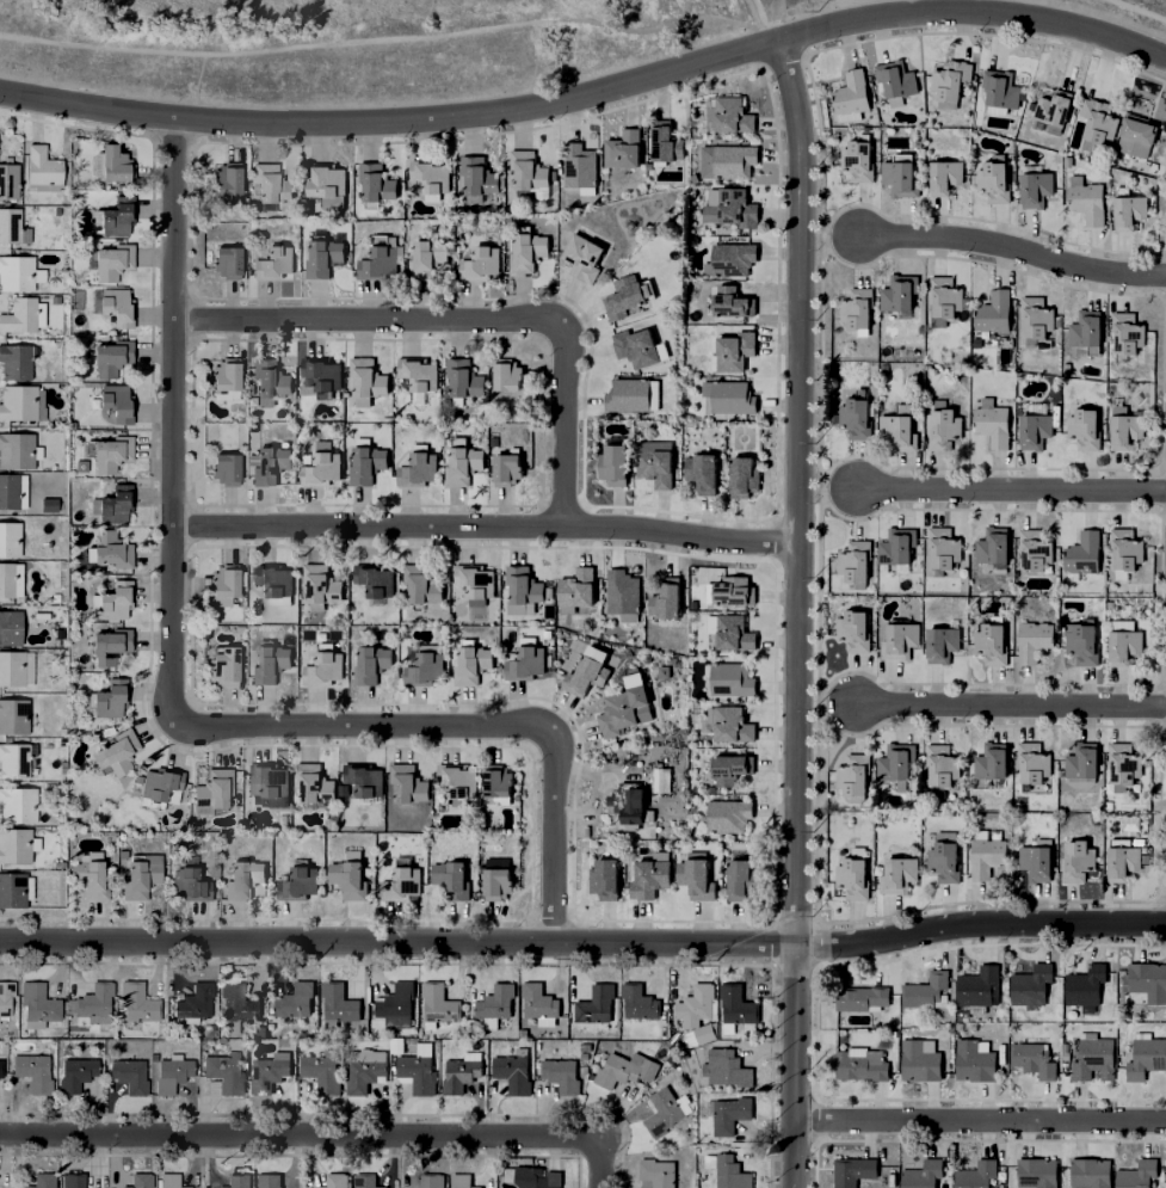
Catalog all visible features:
road: (1139, 11)
road: (971, 12)
road: (800, 14)
road: (769, 33)
road: (382, 39)
building: (895, 75)
building: (950, 76)
building: (1000, 85)
building: (851, 91)
building: (1053, 109)
building: (733, 111)
building: (1099, 118)
road: (391, 122)
building: (666, 139)
building: (1141, 143)
building: (623, 146)
building: (858, 155)
building: (734, 158)
building: (42, 162)
building: (117, 162)
building: (579, 162)
building: (431, 172)
building: (479, 172)
building: (529, 172)
building: (228, 173)
building: (945, 173)
building: (902, 176)
building: (326, 177)
building: (995, 177)
building: (8, 178)
building: (376, 179)
building: (271, 180)
building: (1035, 183)
building: (1090, 199)
building: (738, 205)
building: (1131, 208)
building: (115, 214)
building: (10, 223)
building: (526, 248)
road: (1012, 248)
building: (323, 254)
building: (584, 254)
building: (382, 256)
building: (733, 256)
building: (113, 257)
building: (228, 257)
building: (428, 257)
building: (274, 259)
building: (480, 259)
building: (17, 270)
building: (900, 290)
building: (624, 294)
building: (944, 298)
building: (733, 300)
building: (119, 302)
building: (857, 307)
building: (995, 312)
building: (19, 313)
building: (1037, 318)
road: (471, 320)
building: (1087, 327)
building: (1128, 332)
building: (635, 345)
building: (735, 347)
building: (113, 355)
building: (16, 358)
building: (507, 373)
building: (321, 374)
building: (418, 374)
building: (463, 375)
building: (270, 377)
building: (366, 378)
building: (223, 380)
building: (628, 394)
building: (730, 394)
building: (112, 398)
building: (21, 400)
building: (233, 408)
building: (279, 412)
building: (857, 414)
building: (993, 423)
building: (1085, 424)
building: (945, 425)
building: (900, 426)
building: (1036, 426)
building: (1125, 426)
building: (17, 447)
building: (109, 449)
building: (462, 461)
building: (613, 461)
building: (270, 462)
building: (81, 463)
building: (366, 463)
building: (227, 464)
building: (656, 464)
building: (320, 466)
building: (507, 466)
building: (418, 467)
building: (703, 468)
building: (745, 470)
building: (8, 487)
road: (1010, 487)
building: (117, 501)
road: (485, 527)
building: (10, 535)
building: (944, 544)
building: (112, 546)
building: (994, 546)
building: (897, 548)
building: (1036, 548)
building: (1127, 549)
building: (1084, 550)
building: (857, 558)
building: (6, 577)
building: (374, 579)
building: (273, 580)
building: (475, 580)
building: (226, 581)
building: (421, 581)
building: (523, 583)
building: (320, 584)
building: (575, 587)
building: (735, 587)
building: (622, 592)
building: (667, 596)
building: (115, 597)
building: (519, 610)
road: (796, 613)
building: (5, 624)
building: (709, 626)
building: (855, 627)
building: (735, 630)
building: (901, 639)
building: (1035, 639)
building: (944, 641)
building: (992, 641)
building: (1084, 641)
building: (1125, 641)
building: (112, 644)
building: (528, 658)
building: (269, 660)
building: (473, 660)
building: (370, 663)
building: (323, 664)
building: (425, 664)
building: (12, 665)
building: (224, 665)
building: (585, 672)
building: (732, 678)
building: (109, 696)
road: (1008, 707)
building: (13, 713)
building: (617, 713)
road: (172, 719)
building: (730, 721)
building: (117, 751)
building: (13, 758)
building: (991, 759)
building: (896, 761)
building: (1082, 763)
building: (1124, 763)
building: (1034, 764)
building: (730, 765)
building: (942, 765)
building: (853, 774)
building: (266, 778)
building: (498, 778)
building: (661, 778)
building: (457, 780)
building: (162, 781)
building: (313, 781)
building: (364, 781)
building: (407, 782)
building: (214, 788)
building: (17, 802)
building: (633, 808)
building: (729, 813)
building: (943, 838)
building: (17, 843)
building: (987, 851)
building: (1079, 858)
building: (1123, 858)
building: (944, 860)
building: (1037, 860)
building: (91, 873)
building: (855, 873)
building: (899, 873)
building: (141, 874)
building: (650, 875)
building: (243, 876)
building: (605, 876)
building: (697, 876)
building: (190, 878)
building: (348, 878)
building: (451, 878)
building: (742, 878)
building: (298, 880)
building: (401, 882)
building: (496, 882)
building: (13, 887)
road: (584, 942)
building: (1146, 979)
building: (1086, 985)
building: (1031, 986)
building: (976, 987)
building: (926, 990)
building: (6, 995)
building: (860, 997)
building: (296, 999)
building: (537, 999)
building: (93, 1001)
building: (196, 1001)
building: (638, 1001)
building: (237, 1002)
building: (38, 1003)
building: (137, 1004)
building: (337, 1004)
building: (396, 1004)
building: (437, 1004)
building: (494, 1004)
building: (594, 1004)
building: (696, 1004)
building: (736, 1005)
building: (703, 1033)
building: (518, 1034)
building: (390, 1046)
building: (579, 1055)
building: (1147, 1055)
building: (1034, 1057)
building: (1094, 1057)
building: (920, 1059)
building: (975, 1059)
building: (862, 1063)
building: (727, 1066)
building: (1, 1067)
building: (33, 1070)
building: (321, 1070)
building: (364, 1070)
building: (513, 1070)
building: (579, 1070)
building: (174, 1071)
building: (269, 1071)
building: (415, 1071)
building: (461, 1071)
building: (76, 1072)
building: (224, 1072)
building: (129, 1073)
building: (622, 1073)
building: (561, 1075)
building: (662, 1110)
building: (728, 1113)
road: (979, 1121)
road: (325, 1133)
building: (853, 1170)
building: (658, 1171)
building: (728, 1171)
building: (1091, 1172)
building: (923, 1174)
building: (976, 1174)
building: (1037, 1174)
building: (1139, 1174)
building: (531, 1176)
building: (237, 1177)
building: (74, 1178)
building: (42, 1180)
building: (140, 1180)
building: (171, 1180)
building: (266, 1180)
building: (334, 1180)
building: (430, 1180)
building: (461, 1180)
building: (365, 1181)

